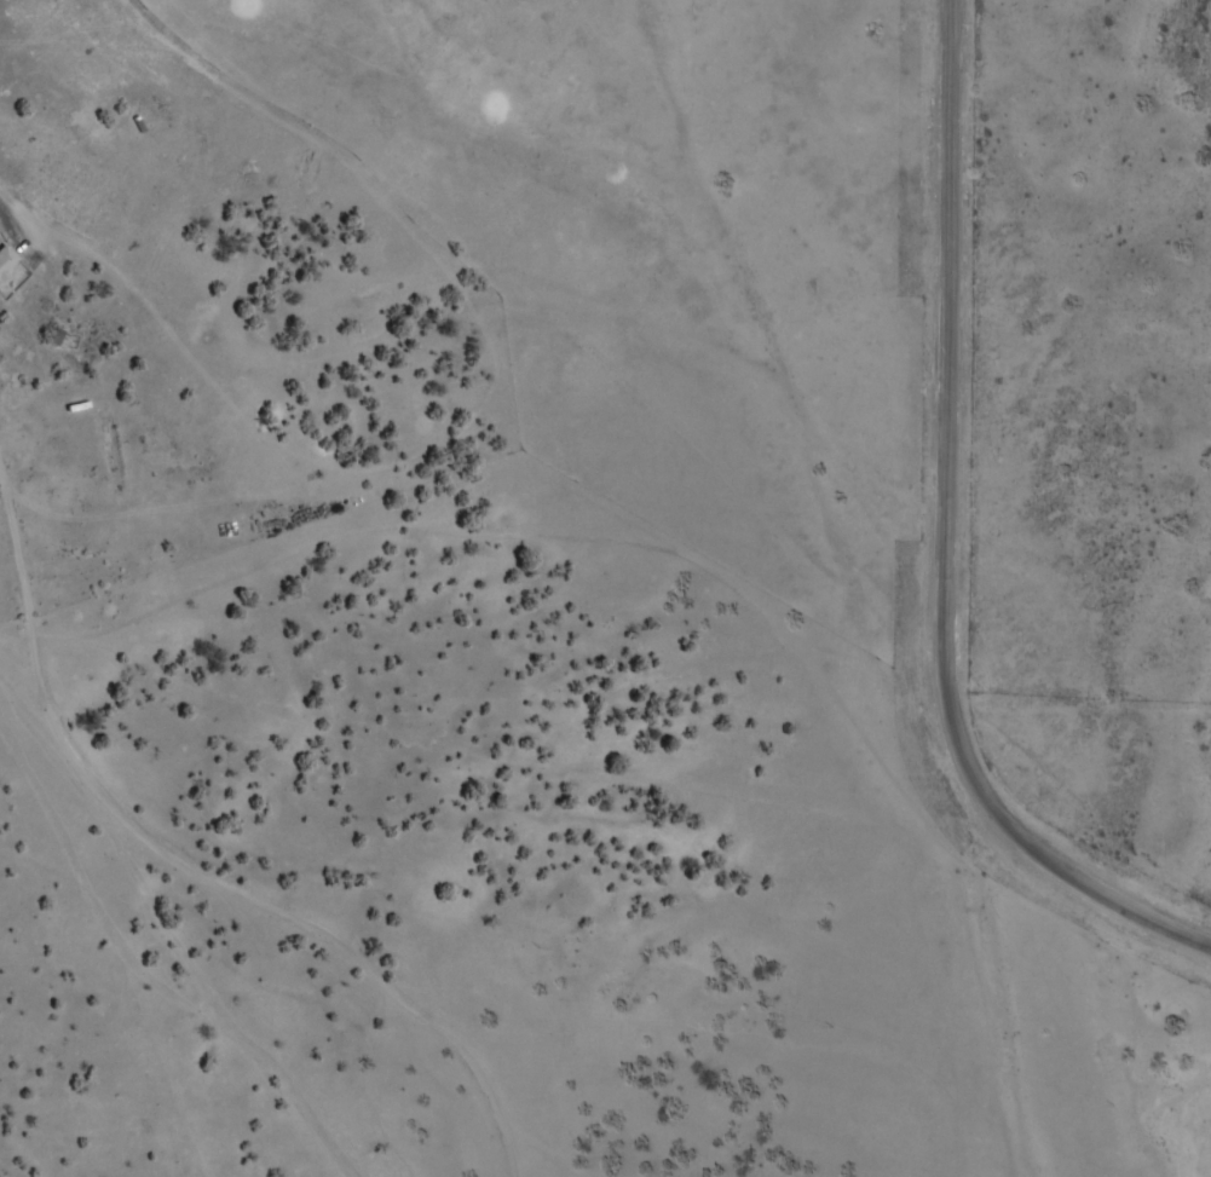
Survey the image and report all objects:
building: (6, 260)
road: (945, 541)

